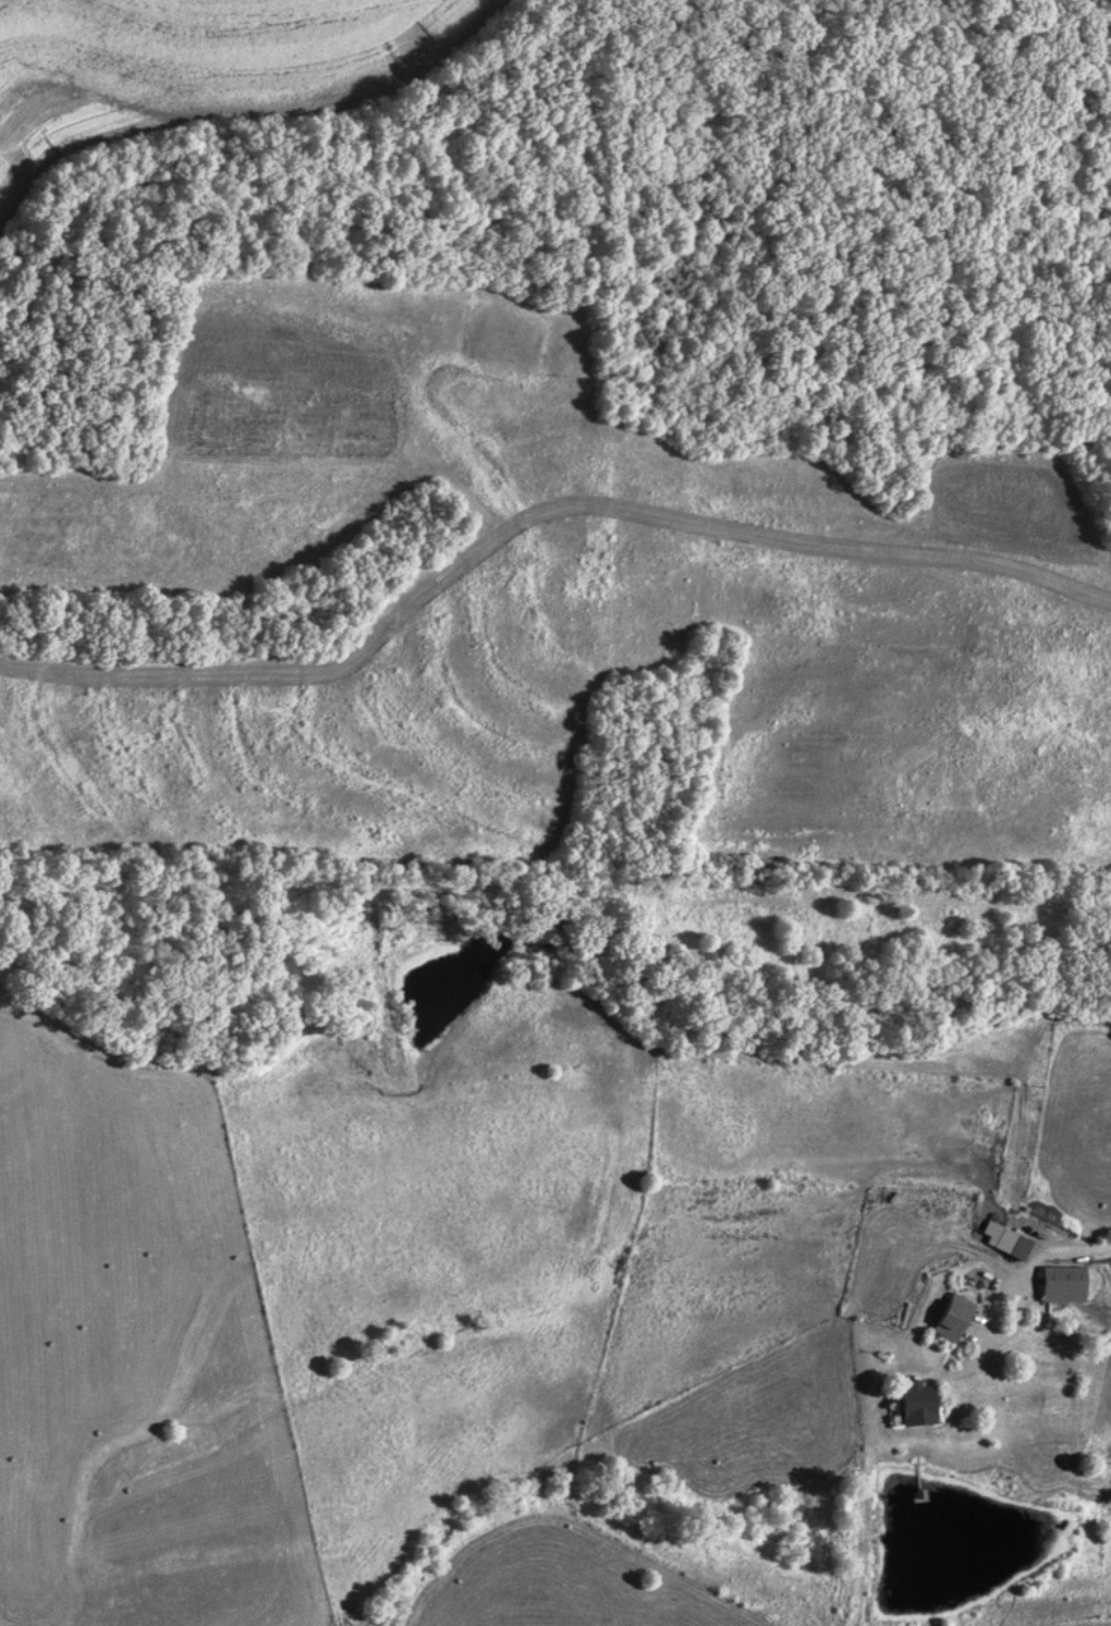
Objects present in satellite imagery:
building: (1004, 1240)
building: (1061, 1284)
building: (950, 1318)
road: (991, 1338)
building: (915, 1404)

